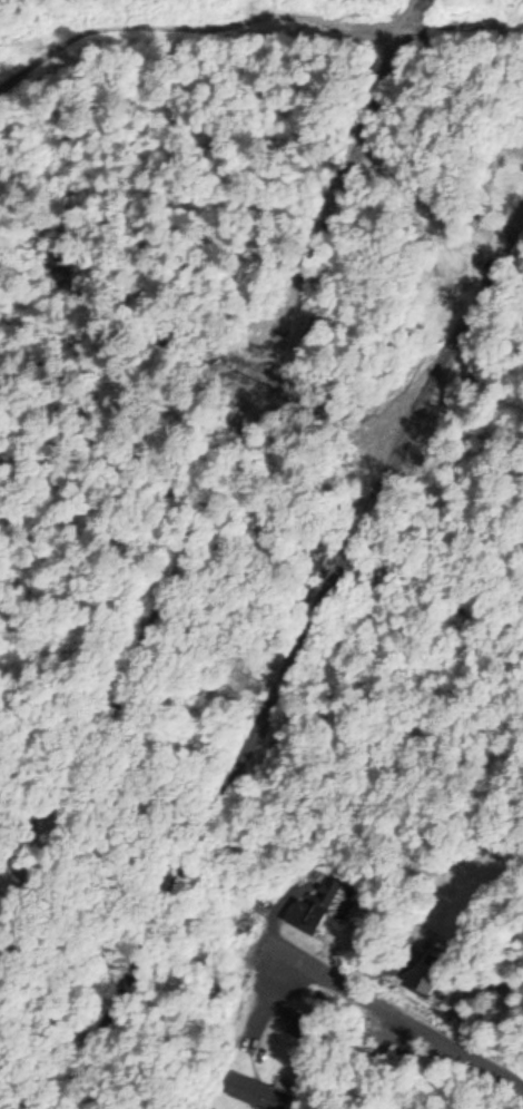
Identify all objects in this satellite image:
road: (287, 652)
building: (322, 906)
building: (243, 925)
building: (424, 974)
road: (436, 1027)
building: (263, 1090)

